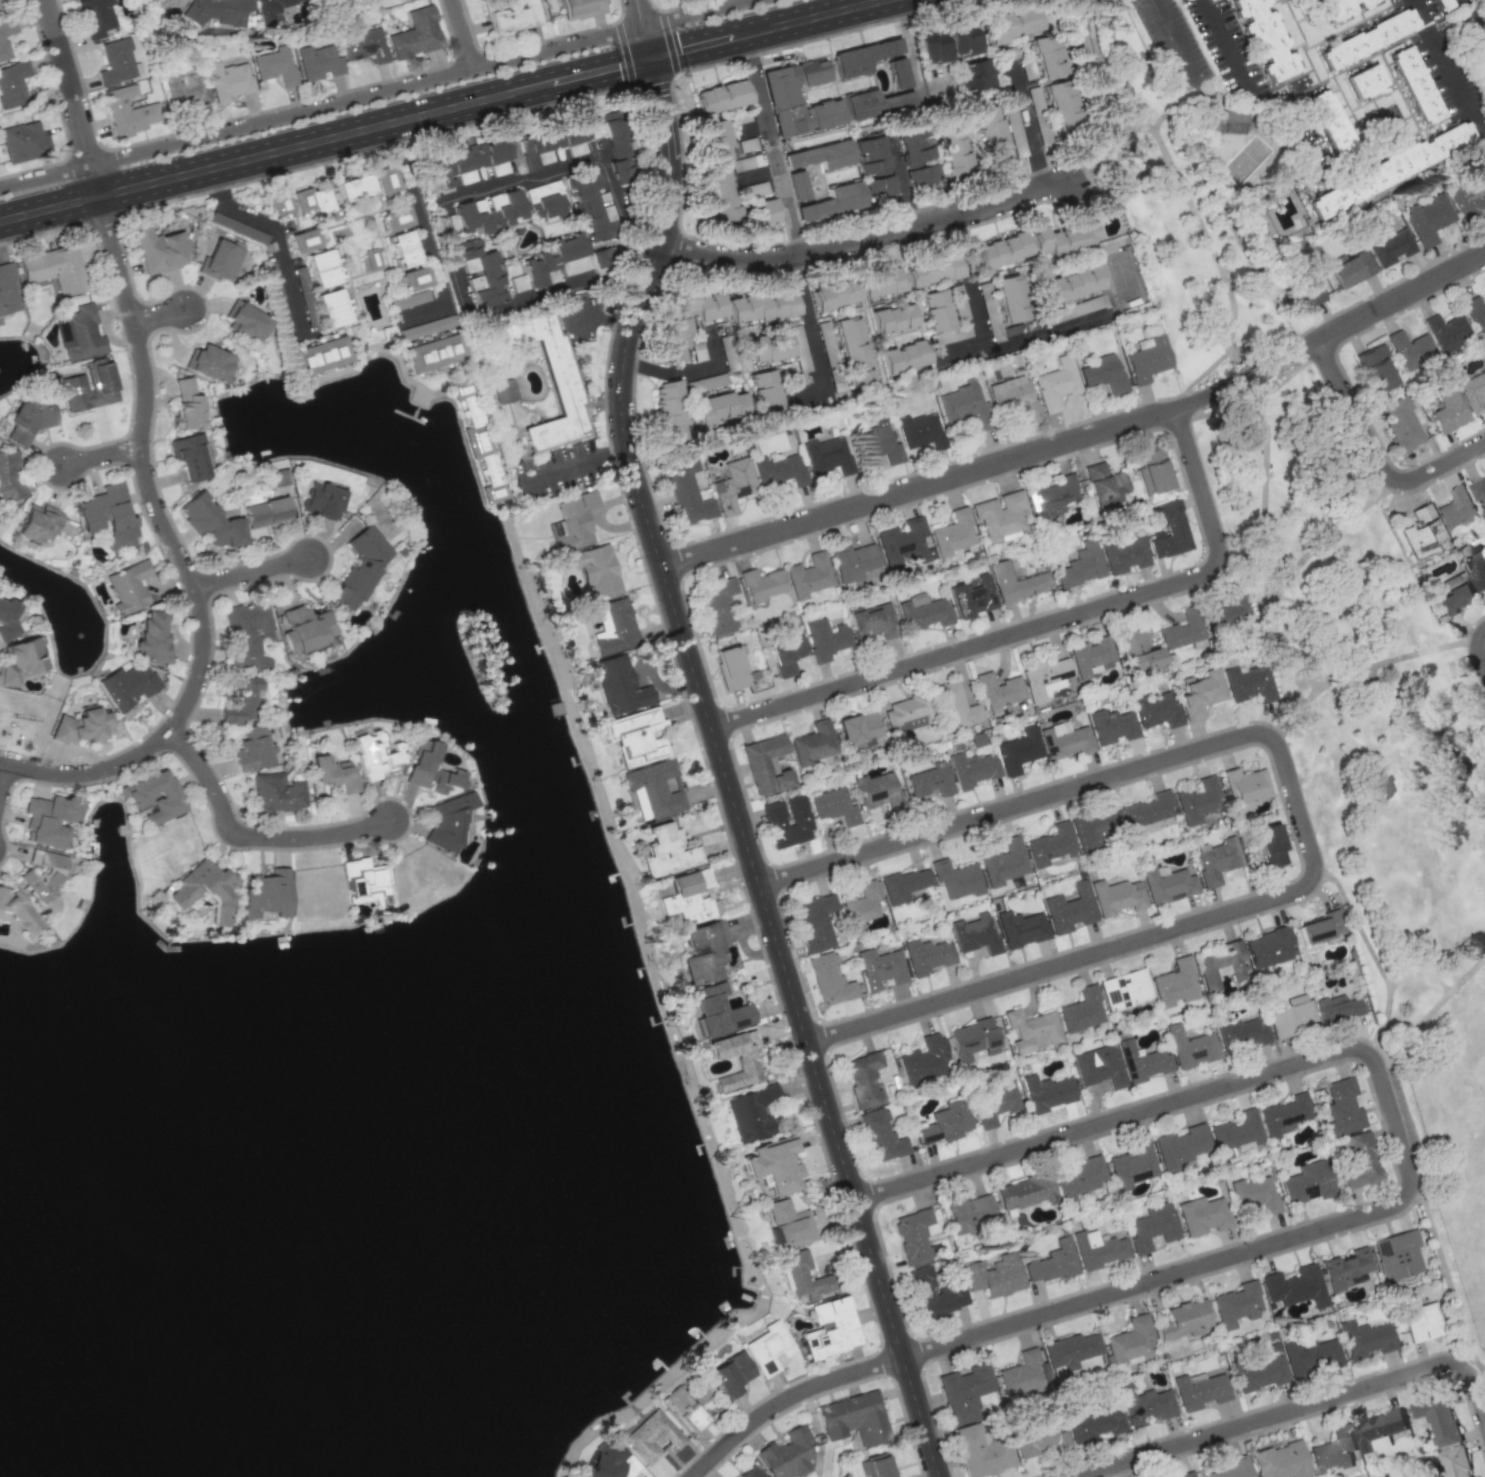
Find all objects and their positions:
building: (165, 7)
building: (272, 8)
building: (581, 8)
building: (1341, 8)
building: (217, 11)
building: (0, 12)
road: (637, 13)
road: (690, 13)
road: (1086, 13)
building: (510, 16)
building: (96, 17)
building: (1011, 24)
road: (1470, 27)
road: (765, 29)
building: (416, 33)
road: (464, 33)
building: (1264, 37)
building: (1367, 38)
building: (962, 39)
road: (643, 42)
road: (905, 45)
road: (1176, 45)
building: (3, 46)
building: (364, 46)
road: (557, 46)
building: (932, 46)
road: (1230, 51)
building: (1048, 56)
building: (862, 57)
building: (116, 62)
building: (318, 62)
building: (274, 65)
road: (1450, 68)
building: (898, 73)
building: (980, 73)
road: (1103, 78)
building: (228, 81)
building: (1365, 81)
building: (13, 84)
building: (1415, 84)
building: (184, 88)
road: (75, 96)
building: (721, 97)
building: (797, 98)
building: (873, 103)
building: (1061, 103)
building: (128, 111)
building: (1388, 121)
building: (1330, 122)
road: (237, 126)
road: (1030, 127)
road: (372, 128)
building: (706, 129)
building: (991, 135)
building: (552, 138)
building: (23, 141)
building: (717, 142)
building: (1017, 142)
building: (617, 145)
road: (771, 146)
building: (820, 154)
building: (953, 154)
building: (916, 156)
building: (468, 162)
building: (873, 167)
building: (1392, 167)
road: (1347, 173)
road: (1181, 184)
building: (796, 185)
building: (355, 188)
building: (720, 195)
building: (1469, 199)
building: (312, 200)
building: (546, 200)
building: (832, 202)
building: (279, 204)
park: (1172, 204)
building: (591, 205)
road: (49, 208)
building: (491, 212)
building: (763, 212)
building: (397, 217)
road: (441, 218)
building: (1429, 218)
road: (276, 237)
road: (426, 237)
building: (1063, 238)
building: (304, 239)
road: (868, 239)
building: (1389, 247)
building: (404, 248)
building: (160, 249)
building: (1002, 250)
building: (372, 258)
building: (552, 258)
building: (598, 258)
building: (320, 259)
building: (221, 260)
building: (54, 269)
building: (1351, 269)
building: (932, 270)
building: (482, 272)
building: (326, 276)
building: (415, 278)
building: (881, 281)
building: (1068, 285)
building: (835, 294)
building: (1304, 296)
building: (1011, 298)
building: (410, 300)
building: (763, 306)
building: (332, 307)
building: (1074, 309)
road: (602, 310)
building: (937, 310)
road: (161, 313)
building: (1476, 314)
building: (893, 319)
building: (245, 321)
building: (425, 327)
building: (1446, 332)
building: (80, 334)
building: (950, 335)
road: (814, 338)
building: (673, 339)
road: (983, 339)
building: (799, 346)
building: (770, 347)
building: (1410, 349)
road: (1263, 350)
building: (854, 351)
building: (433, 353)
building: (321, 354)
building: (904, 357)
building: (1147, 358)
building: (208, 363)
building: (1375, 367)
road: (685, 369)
road: (1209, 371)
building: (547, 373)
building: (1103, 373)
building: (1056, 383)
building: (89, 386)
building: (503, 390)
building: (765, 390)
building: (1472, 391)
building: (1014, 397)
building: (960, 403)
building: (186, 404)
building: (718, 407)
building: (1447, 409)
building: (670, 411)
building: (26, 420)
building: (1400, 424)
building: (919, 431)
road: (1083, 436)
building: (877, 440)
building: (480, 447)
road: (101, 454)
building: (190, 455)
building: (828, 455)
road: (1377, 457)
road: (572, 465)
building: (778, 470)
building: (1154, 470)
building: (10, 475)
building: (279, 477)
building: (733, 485)
building: (1104, 485)
building: (1478, 489)
building: (686, 494)
building: (1053, 496)
building: (322, 500)
building: (1457, 507)
building: (266, 512)
building: (999, 514)
building: (107, 516)
building: (575, 520)
building: (210, 521)
building: (37, 523)
building: (554, 528)
building: (1168, 530)
building: (1422, 532)
building: (953, 534)
building: (905, 542)
road: (1320, 542)
building: (1124, 554)
road: (178, 555)
building: (854, 562)
building: (1080, 565)
building: (360, 566)
building: (597, 570)
road: (1269, 570)
building: (1476, 570)
road: (255, 571)
building: (808, 575)
building: (1015, 583)
building: (762, 584)
building: (127, 587)
building: (1454, 594)
building: (972, 597)
building: (718, 605)
building: (1226, 610)
building: (921, 611)
building: (7, 619)
building: (872, 621)
road: (1043, 625)
building: (615, 627)
building: (304, 629)
building: (1183, 629)
building: (245, 631)
building: (150, 638)
building: (824, 639)
road: (1480, 649)
road: (1433, 650)
building: (1137, 651)
building: (786, 654)
building: (1090, 655)
building: (21, 661)
building: (730, 667)
road: (1365, 668)
building: (1045, 678)
building: (1247, 683)
building: (127, 685)
building: (619, 685)
building: (998, 690)
building: (1200, 694)
building: (238, 700)
building: (955, 706)
building: (1156, 710)
building: (904, 712)
road: (1417, 719)
building: (81, 726)
building: (1112, 726)
building: (858, 730)
building: (635, 736)
building: (1064, 740)
park: (1353, 741)
building: (813, 743)
building: (250, 750)
building: (1018, 750)
building: (376, 759)
building: (766, 764)
building: (430, 769)
building: (971, 769)
road: (725, 771)
building: (333, 773)
building: (930, 780)
road: (5, 783)
building: (1246, 788)
building: (654, 789)
building: (879, 791)
building: (275, 793)
building: (153, 795)
building: (1197, 800)
road: (1300, 805)
building: (834, 806)
building: (1147, 813)
building: (49, 819)
building: (448, 820)
building: (787, 821)
road: (253, 836)
building: (1072, 836)
building: (1270, 845)
building: (666, 851)
building: (1217, 860)
building: (1004, 862)
building: (43, 877)
building: (956, 878)
building: (366, 882)
building: (1167, 884)
building: (902, 885)
building: (205, 890)
building: (266, 893)
building: (1116, 896)
building: (689, 900)
building: (860, 905)
building: (1069, 909)
building: (20, 911)
building: (814, 922)
building: (1021, 928)
building: (1321, 929)
building: (975, 935)
building: (1268, 947)
building: (704, 951)
building: (926, 956)
building: (1220, 965)
building: (879, 968)
road: (1389, 983)
building: (1174, 984)
building: (1124, 989)
building: (1337, 1008)
building: (1081, 1010)
road: (1386, 1018)
building: (1290, 1019)
building: (726, 1020)
building: (1031, 1030)
building: (1239, 1032)
road: (1412, 1034)
building: (971, 1040)
building: (1189, 1047)
building: (923, 1058)
building: (1141, 1062)
building: (747, 1066)
building: (1097, 1067)
building: (863, 1079)
building: (1045, 1093)
building: (996, 1101)
building: (1342, 1107)
building: (1283, 1113)
building: (750, 1114)
road: (1394, 1119)
building: (944, 1123)
building: (1235, 1133)
building: (880, 1135)
building: (1181, 1146)
building: (1358, 1161)
building: (772, 1165)
building: (1132, 1166)
building: (1078, 1181)
building: (1307, 1183)
building: (1024, 1192)
building: (1254, 1194)
building: (970, 1212)
building: (1202, 1215)
building: (790, 1224)
building: (1152, 1227)
building: (913, 1235)
road: (1435, 1236)
building: (1097, 1249)
building: (1397, 1254)
building: (1052, 1262)
building: (1345, 1268)
building: (808, 1272)
building: (993, 1275)
building: (1295, 1286)
building: (933, 1294)
building: (1236, 1304)
building: (1185, 1320)
building: (1421, 1322)
building: (831, 1328)
building: (1365, 1338)
building: (1131, 1341)
building: (1071, 1350)
building: (1310, 1356)
road: (1468, 1361)
building: (1023, 1373)
building: (731, 1374)
building: (1259, 1374)
building: (1200, 1390)
building: (964, 1392)
road: (788, 1399)
building: (1145, 1405)
building: (687, 1407)
road: (1296, 1409)
building: (854, 1418)
building: (1438, 1419)
building: (1096, 1423)
building: (1379, 1430)
building: (652, 1436)
building: (1038, 1439)
building: (1333, 1451)
building: (981, 1452)
building: (787, 1453)
building: (608, 1461)
building: (1280, 1461)
building: (1455, 1462)
building: (875, 1466)
building: (1232, 1468)
building: (750, 1472)
building: (1184, 1474)

